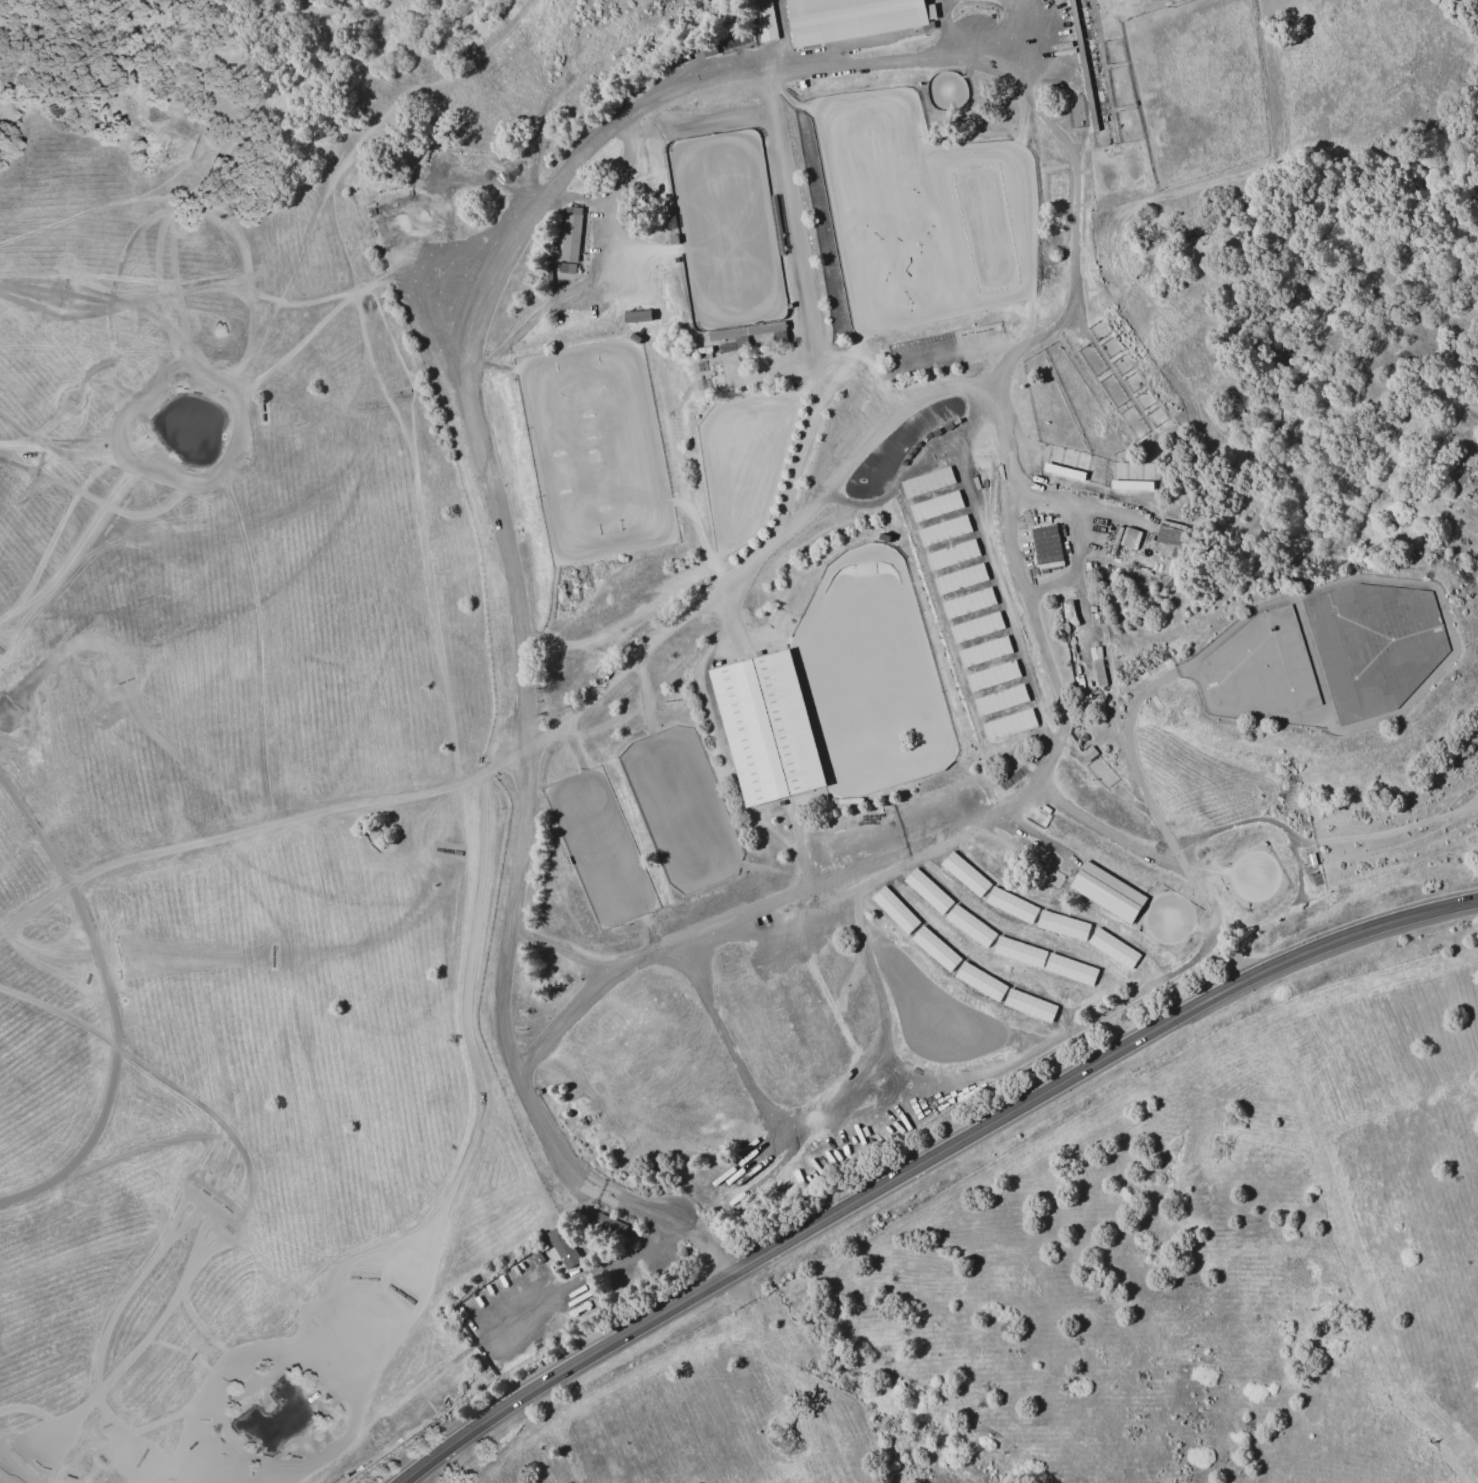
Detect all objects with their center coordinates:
building: (823, 5)
building: (794, 7)
building: (786, 9)
building: (861, 20)
building: (763, 21)
building: (801, 27)
road: (1001, 32)
building: (801, 37)
building: (1081, 65)
building: (672, 69)
building: (584, 135)
building: (689, 135)
road: (582, 196)
building: (400, 210)
building: (408, 231)
building: (669, 233)
building: (827, 237)
building: (570, 240)
building: (830, 263)
building: (566, 270)
road: (596, 274)
building: (808, 277)
building: (814, 313)
building: (634, 318)
building: (745, 333)
building: (632, 339)
building: (726, 349)
building: (703, 352)
building: (881, 411)
building: (874, 416)
building: (869, 422)
building: (673, 446)
building: (1131, 484)
building: (928, 486)
road: (1060, 504)
building: (935, 508)
building: (941, 530)
building: (1130, 540)
building: (1115, 542)
building: (1165, 542)
road: (503, 547)
building: (1046, 548)
building: (949, 551)
road: (1073, 567)
building: (958, 573)
building: (965, 594)
building: (1066, 607)
road: (1081, 609)
building: (971, 616)
building: (980, 638)
building: (1373, 647)
building: (987, 660)
building: (1261, 668)
building: (1143, 678)
building: (994, 682)
road: (1053, 685)
building: (1001, 703)
building: (1003, 726)
building: (764, 731)
road: (542, 734)
building: (1088, 757)
building: (841, 803)
road: (1161, 828)
road: (1102, 829)
building: (972, 884)
building: (1100, 893)
building: (936, 899)
building: (1224, 901)
building: (901, 915)
building: (1028, 916)
building: (1153, 925)
building: (1097, 942)
road: (557, 947)
building: (1008, 947)
building: (949, 961)
building: (1070, 970)
building: (1008, 996)
road: (924, 1163)
building: (609, 1226)
building: (563, 1246)
road: (592, 1271)

